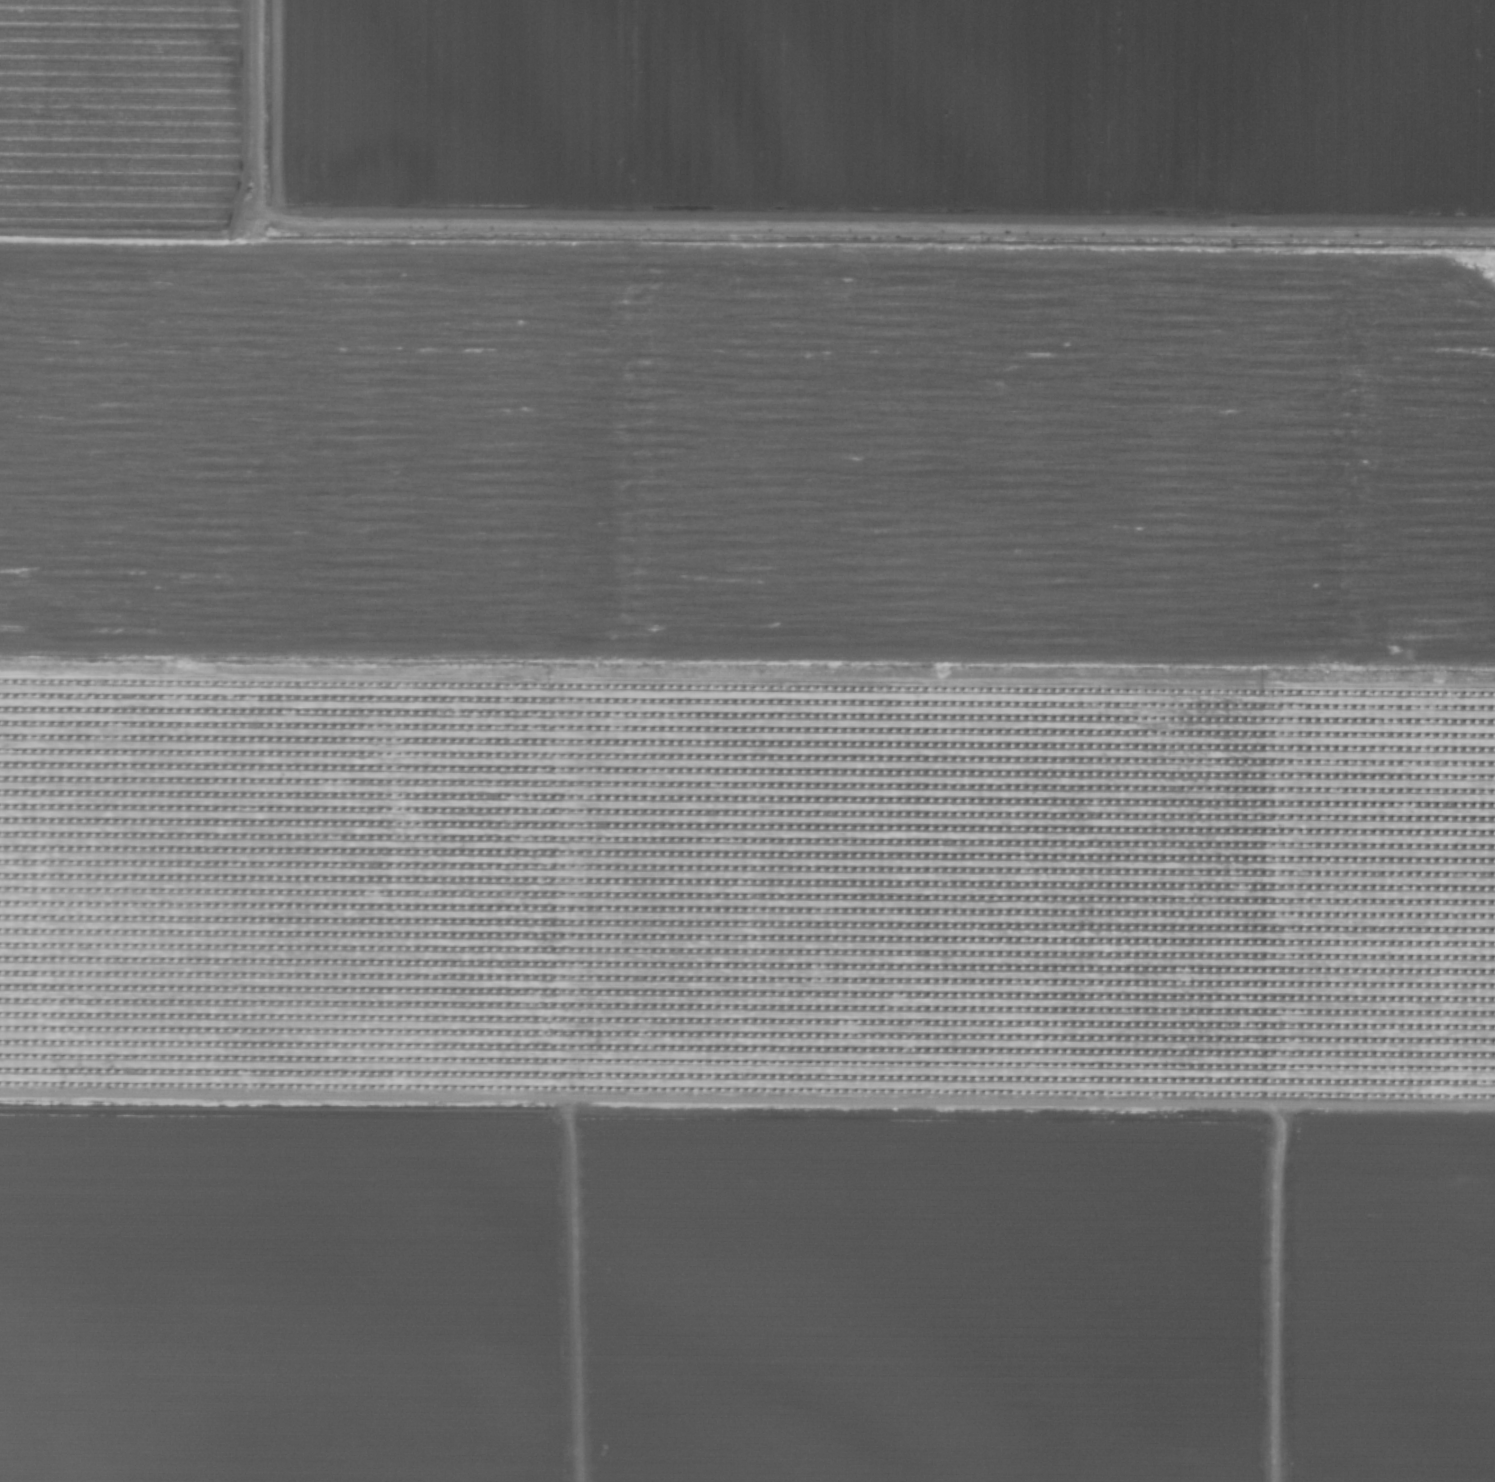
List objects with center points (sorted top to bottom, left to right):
road: (747, 250)

